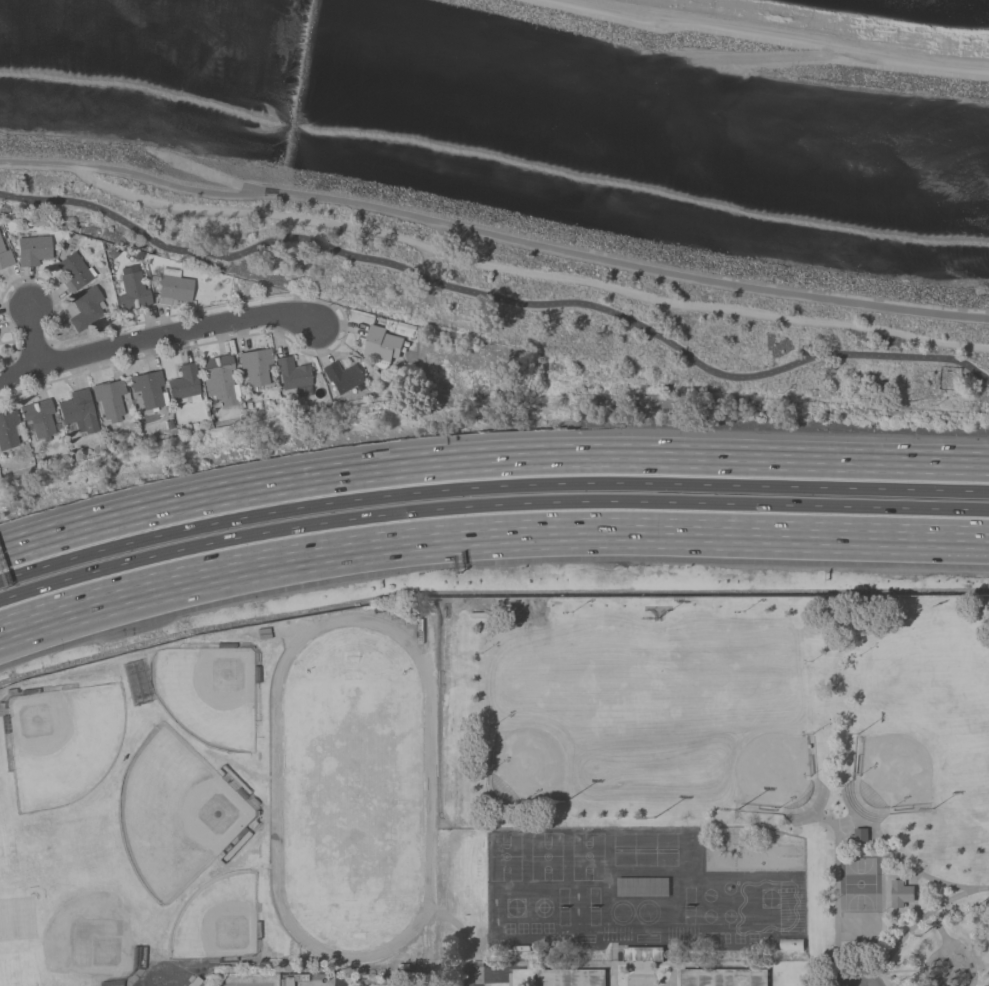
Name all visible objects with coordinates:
river: (495, 112)
road: (204, 171)
road: (531, 244)
building: (34, 250)
building: (4, 251)
building: (75, 271)
building: (175, 286)
building: (133, 291)
road: (496, 298)
building: (86, 308)
road: (295, 322)
road: (37, 332)
road: (133, 345)
building: (383, 346)
building: (256, 368)
building: (294, 376)
building: (342, 377)
building: (221, 381)
building: (184, 385)
building: (149, 389)
building: (110, 400)
building: (79, 412)
building: (40, 419)
building: (9, 430)
road: (489, 457)
road: (489, 487)
road: (489, 505)
road: (489, 536)
park: (747, 748)
track: (351, 791)
road: (835, 852)
building: (900, 894)
road: (918, 920)
road: (938, 928)
road: (948, 944)
building: (570, 978)
building: (724, 978)
building: (287, 981)
building: (196, 982)
parking lot: (858, 982)

